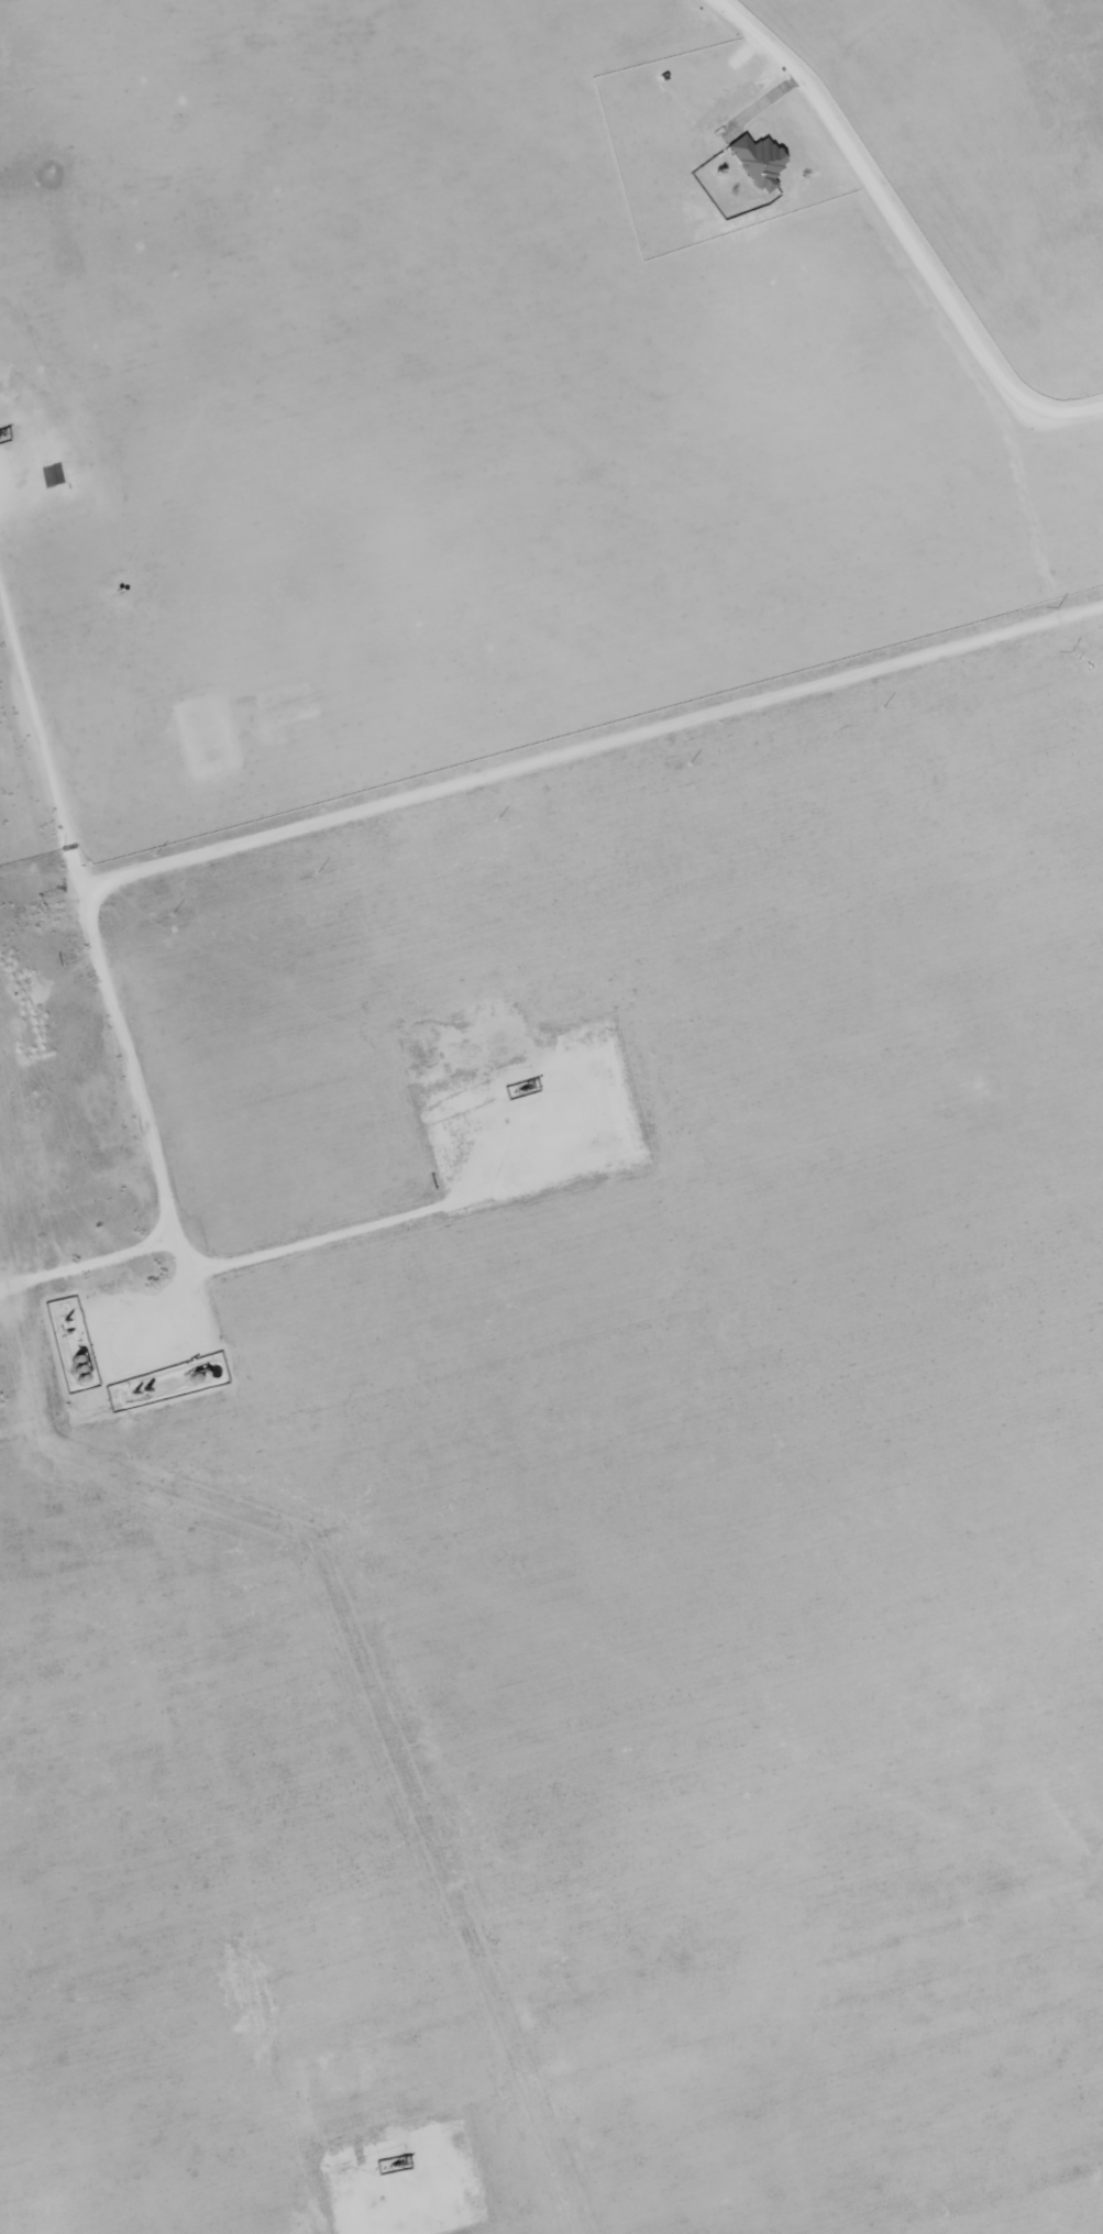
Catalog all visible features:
building: (761, 159)
road: (595, 747)

